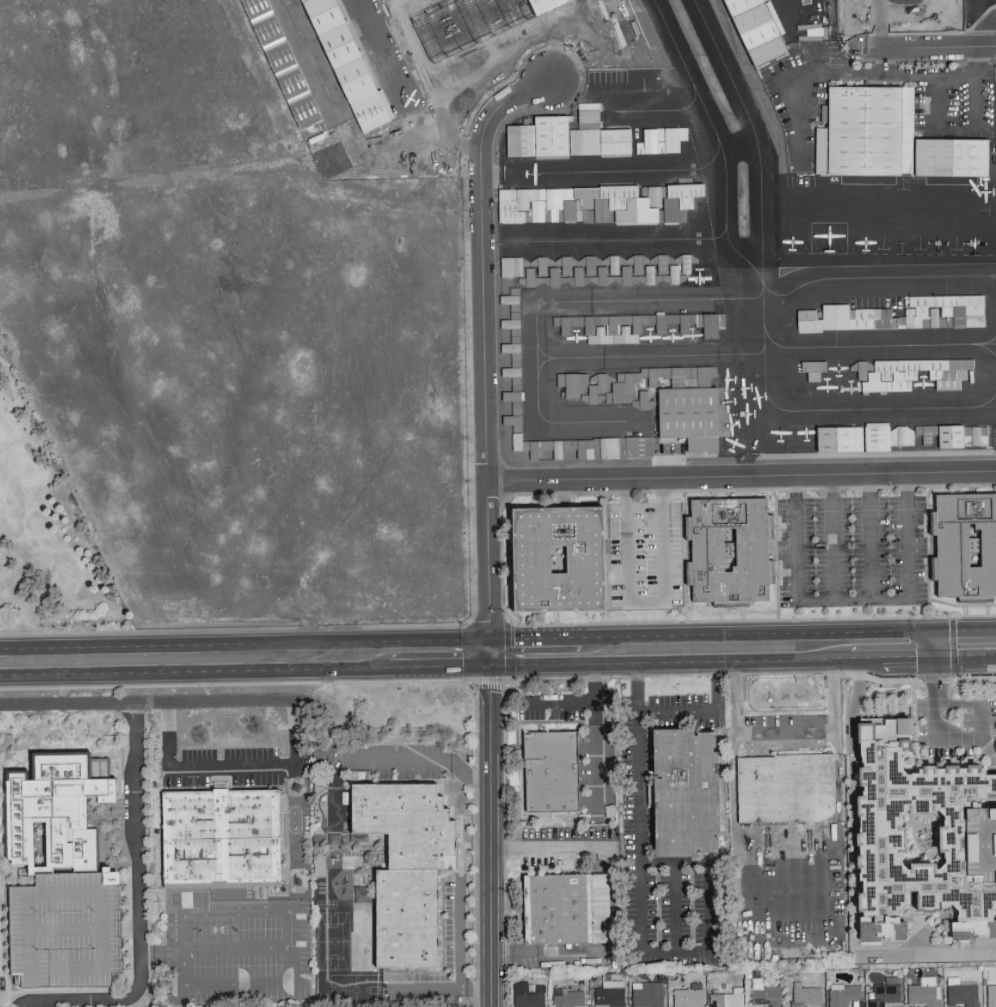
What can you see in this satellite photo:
road: (881, 4)
building: (741, 6)
road: (934, 7)
building: (510, 9)
road: (868, 9)
road: (979, 21)
airport apron: (762, 23)
building: (478, 25)
building: (756, 26)
road: (876, 29)
road: (990, 40)
road: (899, 50)
road: (494, 60)
road: (884, 60)
building: (274, 62)
building: (340, 68)
road: (835, 70)
road: (976, 91)
building: (593, 135)
building: (895, 135)
building: (658, 140)
airport taxiway: (719, 143)
building: (593, 203)
airport: (476, 267)
building: (576, 271)
airport taxiway: (874, 278)
airport taxiway: (763, 309)
building: (901, 316)
building: (705, 323)
building: (615, 326)
road: (483, 338)
building: (811, 370)
building: (916, 377)
building: (570, 383)
building: (511, 386)
building: (689, 418)
building: (905, 439)
building: (586, 447)
road: (741, 477)
road: (870, 537)
road: (834, 538)
building: (965, 545)
building: (730, 551)
parking lot: (852, 551)
parking lot: (646, 556)
building: (559, 560)
road: (854, 601)
road: (646, 604)
road: (966, 627)
road: (759, 631)
road: (535, 633)
road: (245, 641)
road: (490, 641)
road: (937, 641)
road: (966, 654)
road: (490, 655)
road: (898, 656)
road: (846, 657)
road: (661, 660)
road: (437, 664)
road: (192, 671)
road: (149, 703)
road: (543, 703)
road: (702, 710)
building: (994, 716)
road: (490, 720)
road: (786, 732)
road: (596, 740)
road: (955, 742)
road: (423, 760)
road: (200, 764)
building: (546, 769)
building: (983, 785)
building: (674, 789)
building: (786, 791)
building: (896, 793)
road: (295, 801)
road: (491, 813)
building: (227, 842)
road: (554, 849)
building: (64, 850)
building: (398, 865)
road: (296, 902)
road: (791, 903)
road: (676, 906)
road: (139, 909)
building: (565, 912)
road: (642, 920)
road: (492, 927)
road: (458, 932)
road: (952, 953)
road: (437, 989)
building: (884, 992)
building: (923, 992)
building: (765, 993)
building: (527, 994)
building: (608, 994)
building: (647, 994)
building: (842, 994)
building: (961, 994)
road: (179, 995)
building: (804, 995)
building: (990, 995)
building: (687, 996)
building: (565, 997)
building: (726, 998)

